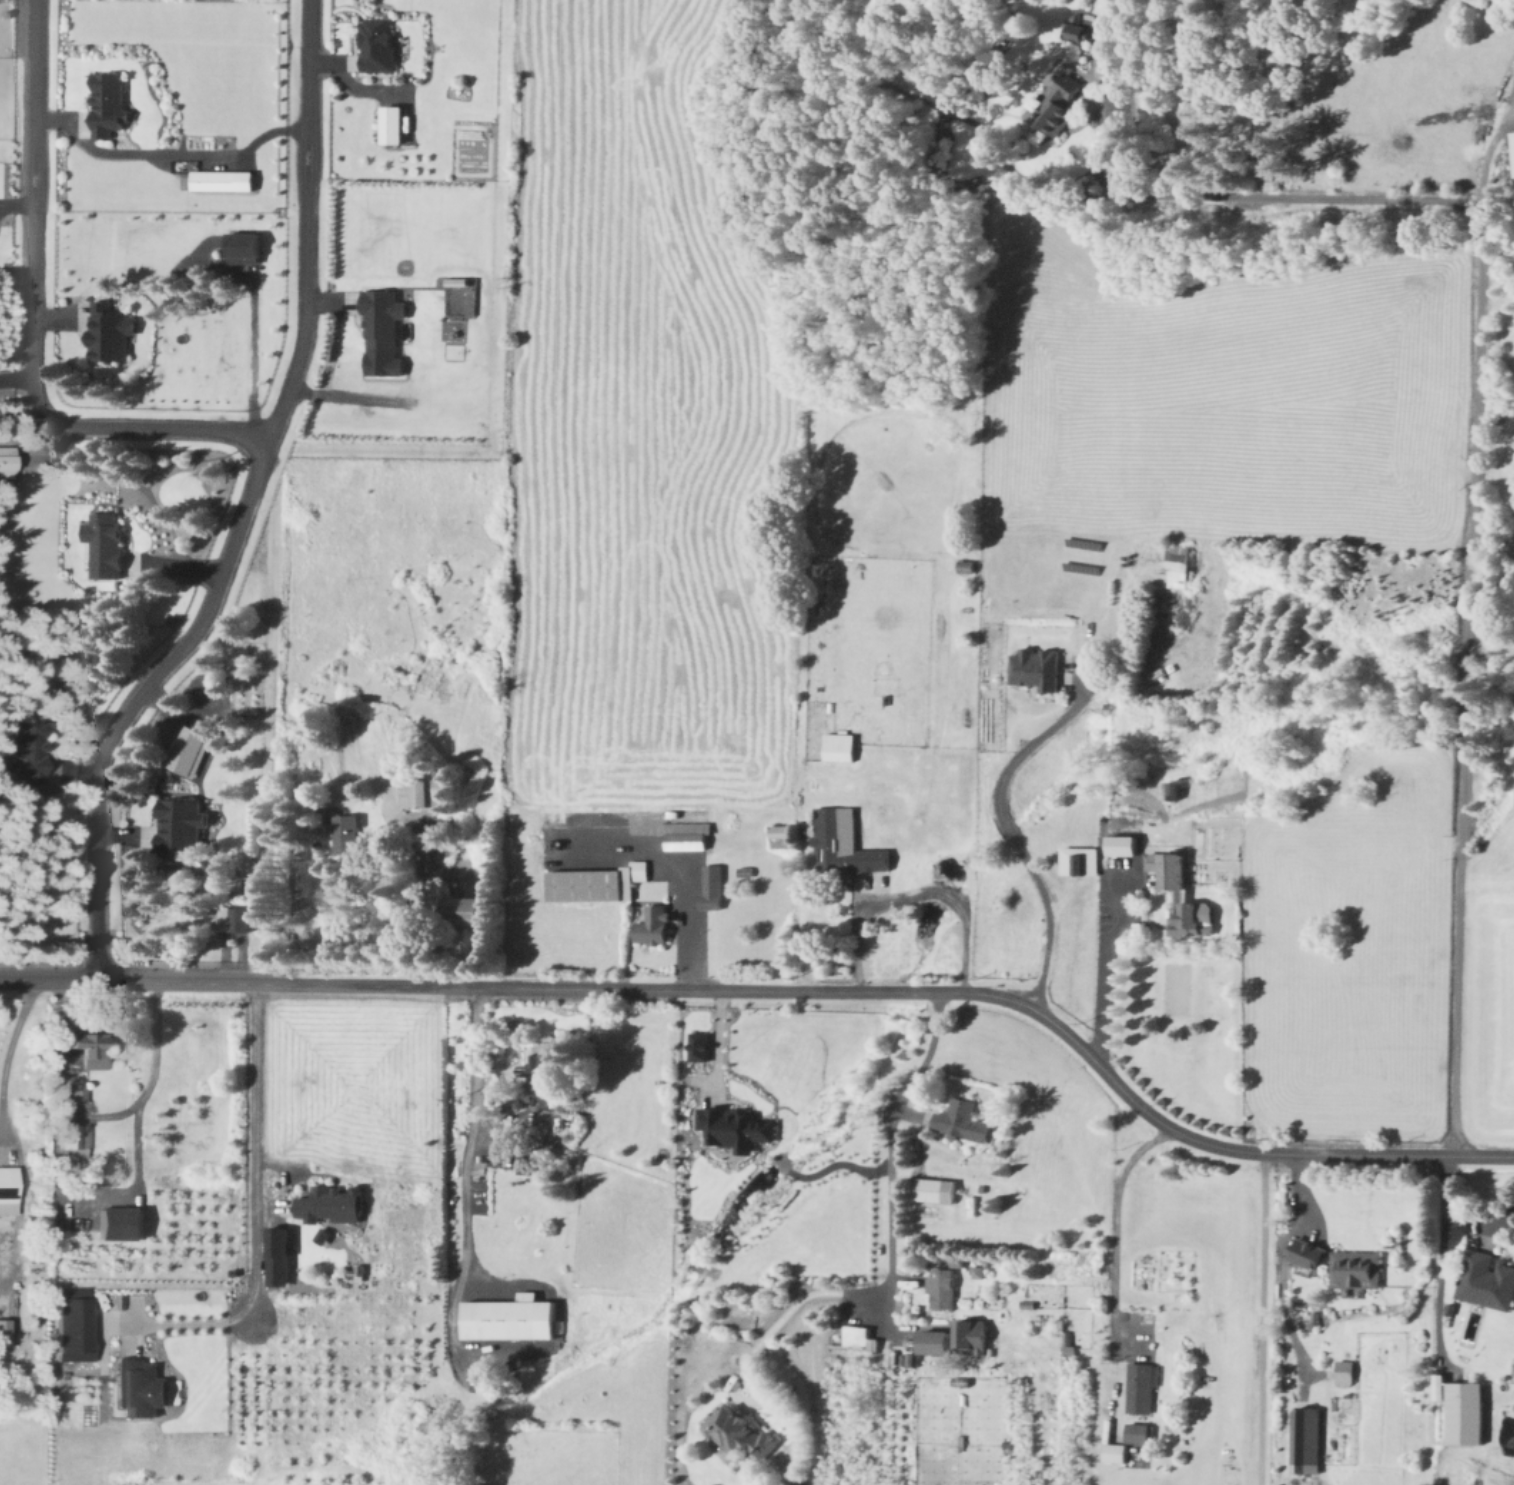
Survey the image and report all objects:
building: (1075, 31)
building: (379, 44)
building: (110, 104)
building: (1060, 104)
building: (395, 124)
road: (165, 154)
building: (224, 180)
building: (248, 247)
building: (459, 281)
building: (110, 332)
building: (385, 332)
road: (1471, 412)
crop: (637, 427)
road: (169, 429)
building: (8, 460)
building: (106, 543)
building: (969, 565)
building: (1178, 565)
building: (1038, 667)
road: (134, 702)
building: (841, 746)
building: (34, 747)
building: (190, 749)
building: (1174, 788)
building: (422, 791)
building: (182, 823)
road: (1004, 828)
building: (784, 830)
building: (349, 832)
building: (689, 840)
building: (845, 842)
building: (1125, 844)
building: (1082, 860)
building: (597, 881)
building: (714, 885)
road: (909, 893)
building: (1181, 893)
building: (474, 910)
building: (237, 917)
building: (655, 924)
road: (686, 925)
road: (783, 990)
road: (1100, 997)
road: (11, 1025)
building: (702, 1045)
road: (710, 1045)
building: (94, 1047)
building: (539, 1076)
road: (138, 1086)
building: (78, 1092)
building: (964, 1119)
building: (737, 1126)
road: (467, 1130)
building: (77, 1134)
road: (897, 1143)
road: (255, 1151)
building: (527, 1162)
building: (9, 1188)
building: (938, 1189)
building: (334, 1203)
building: (126, 1221)
road: (1474, 1221)
building: (1311, 1251)
building: (281, 1255)
road: (1437, 1259)
road: (1113, 1263)
building: (1358, 1267)
road: (1275, 1268)
building: (1487, 1280)
building: (942, 1287)
road: (795, 1295)
building: (512, 1317)
road: (1256, 1319)
building: (77, 1322)
road: (188, 1326)
building: (6, 1329)
building: (858, 1336)
building: (974, 1336)
building: (937, 1340)
building: (1069, 1350)
building: (911, 1358)
building: (1347, 1370)
building: (143, 1386)
building: (1441, 1386)
building: (1140, 1387)
building: (1468, 1411)
building: (740, 1431)
building: (1139, 1432)
building: (1307, 1439)
building: (1115, 1451)

